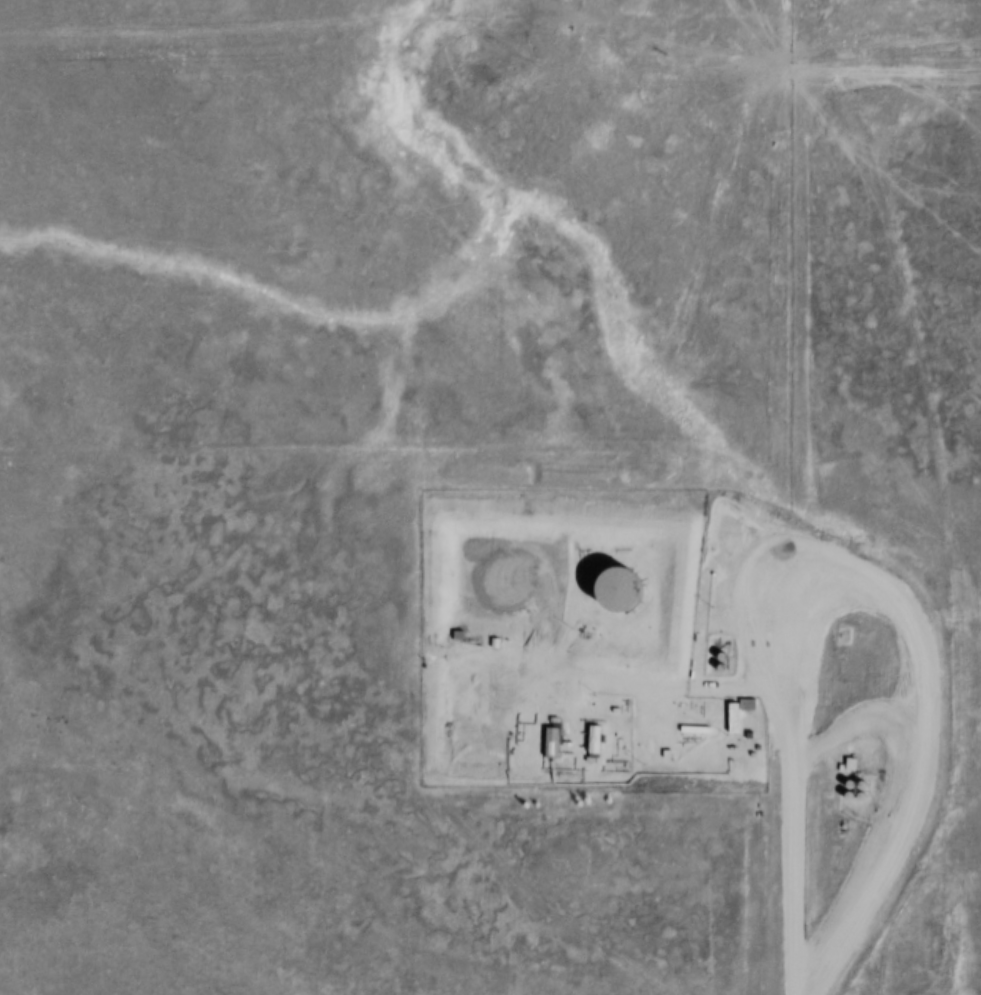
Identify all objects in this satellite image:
road: (758, 65)
road: (797, 323)
building: (741, 715)
building: (853, 765)
road: (792, 777)

